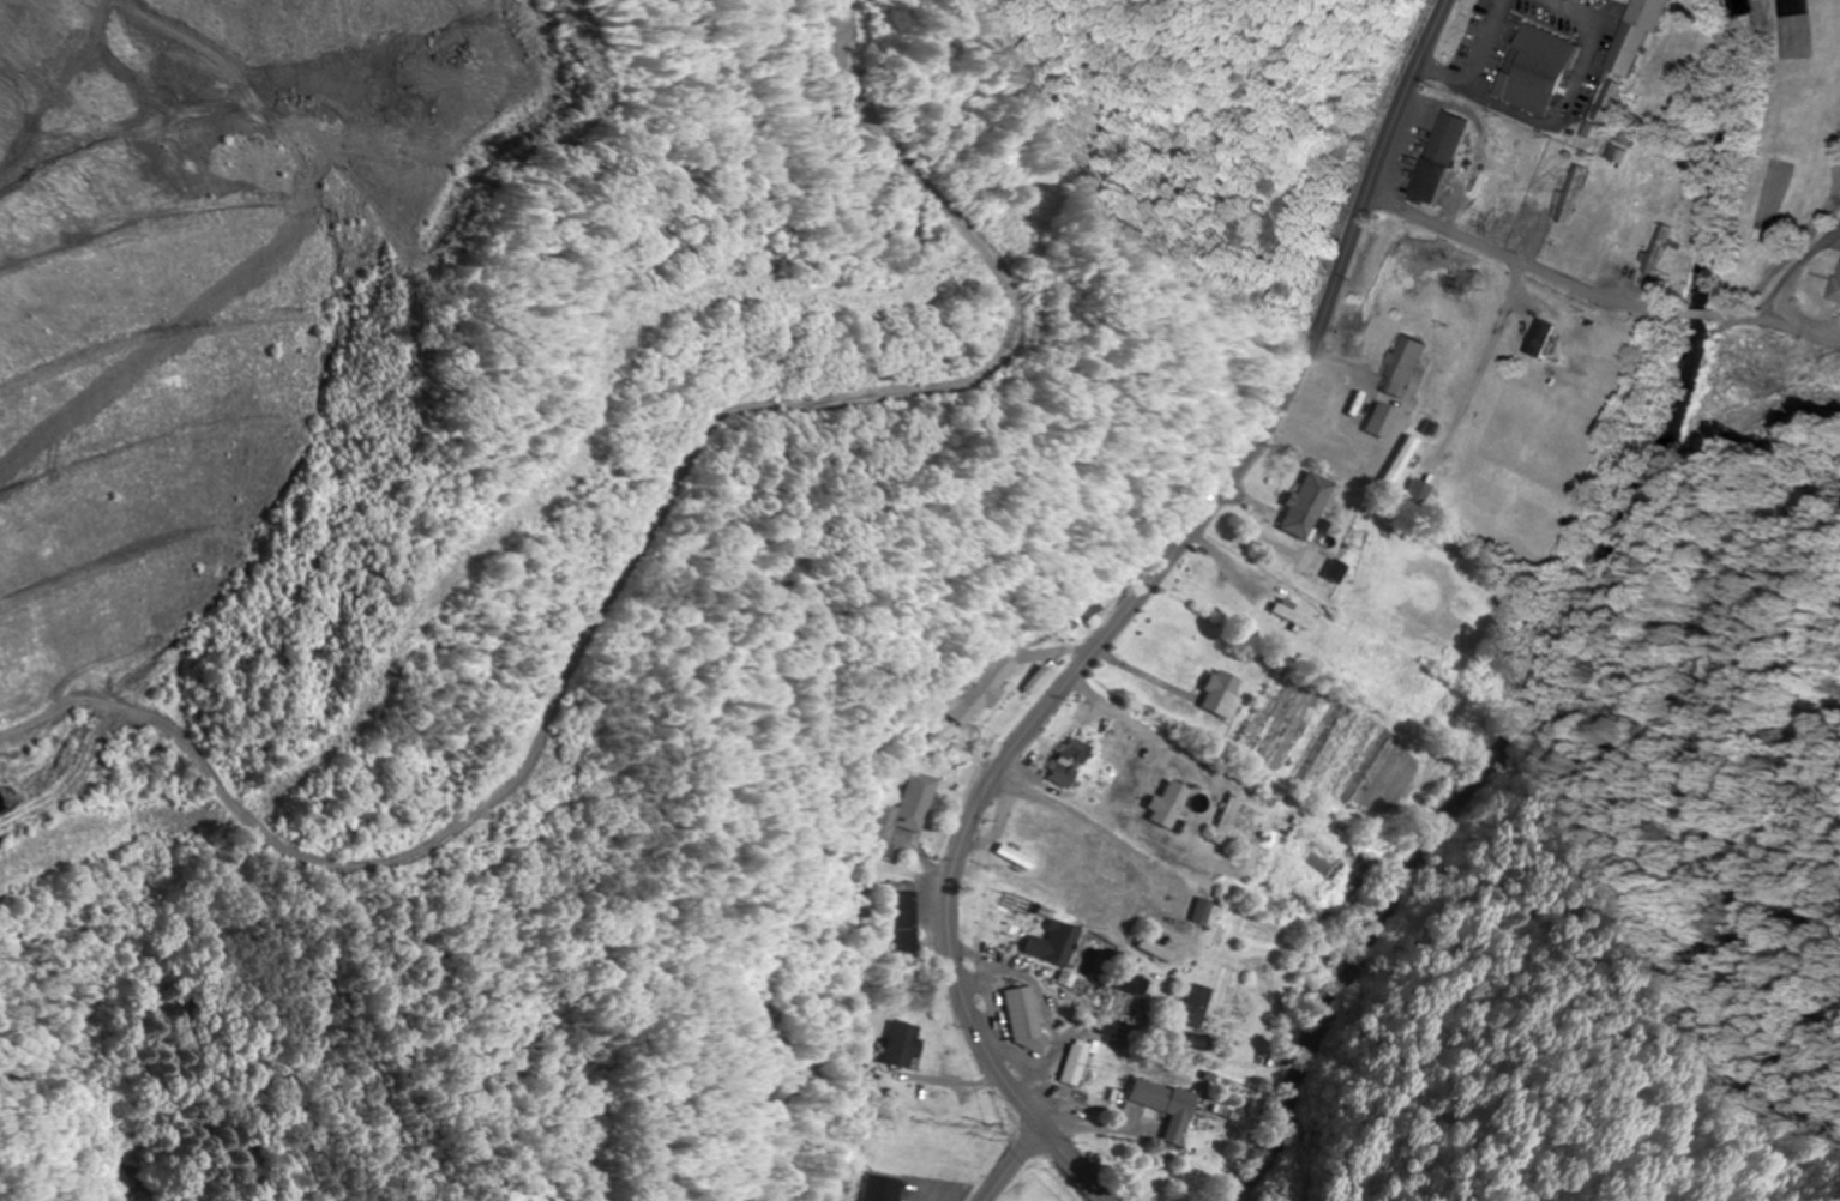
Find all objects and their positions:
building: (1636, 35)
building: (1534, 68)
building: (1511, 152)
building: (1436, 157)
building: (1570, 194)
building: (1659, 249)
building: (1836, 291)
road: (1597, 294)
building: (1538, 338)
building: (1399, 367)
building: (1377, 420)
building: (1403, 475)
building: (1303, 505)
road: (1162, 569)
building: (1329, 571)
building: (1083, 606)
building: (1288, 616)
building: (1216, 694)
building: (974, 696)
building: (1065, 761)
building: (1157, 799)
building: (908, 813)
building: (1223, 820)
building: (1198, 911)
building: (907, 922)
building: (1050, 944)
building: (1120, 996)
building: (1024, 1018)
building: (915, 1044)
building: (1071, 1064)
building: (1160, 1106)
road: (1017, 1163)
road: (1076, 1163)
building: (889, 1188)

